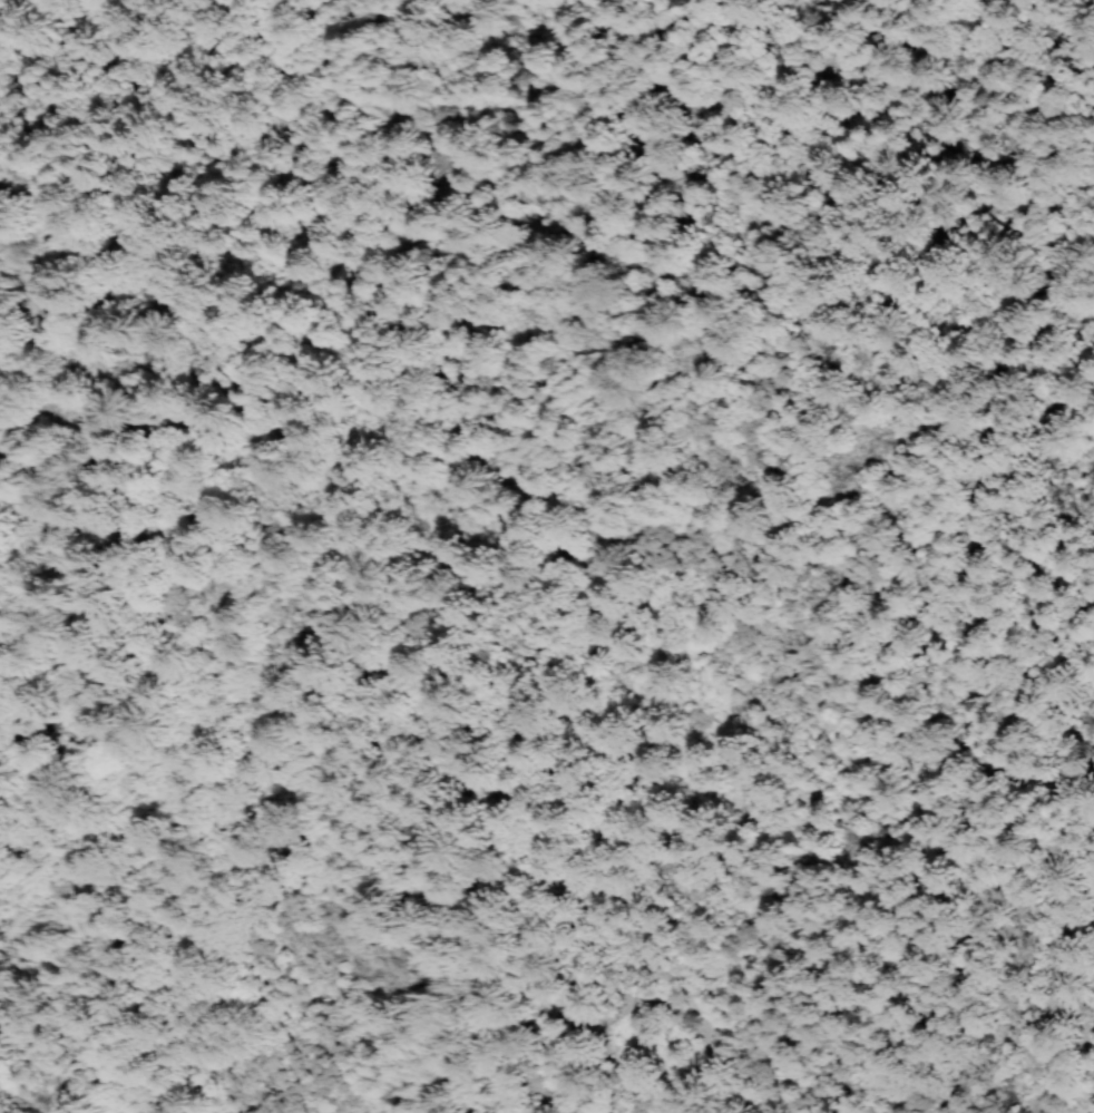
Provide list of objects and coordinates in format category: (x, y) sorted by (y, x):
crop: (144, 339)
road: (928, 412)
road: (985, 530)
road: (250, 675)
road: (1085, 1104)

